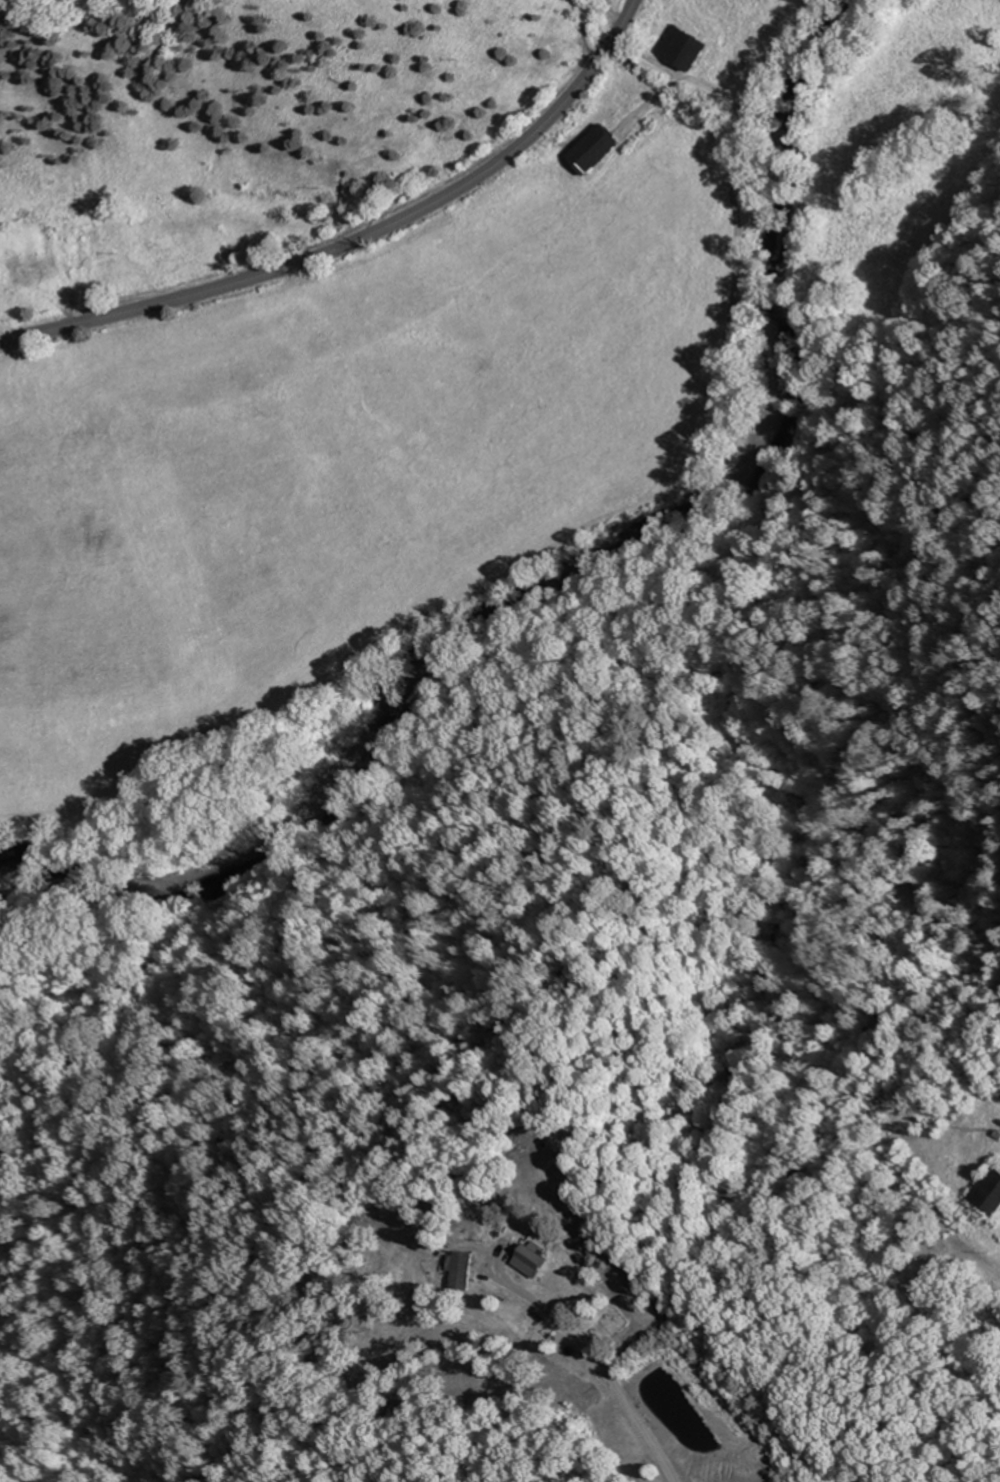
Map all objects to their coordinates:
building: (686, 47)
building: (600, 149)
road: (357, 239)
building: (991, 1189)
building: (943, 1244)
building: (466, 1270)
road: (598, 1363)

